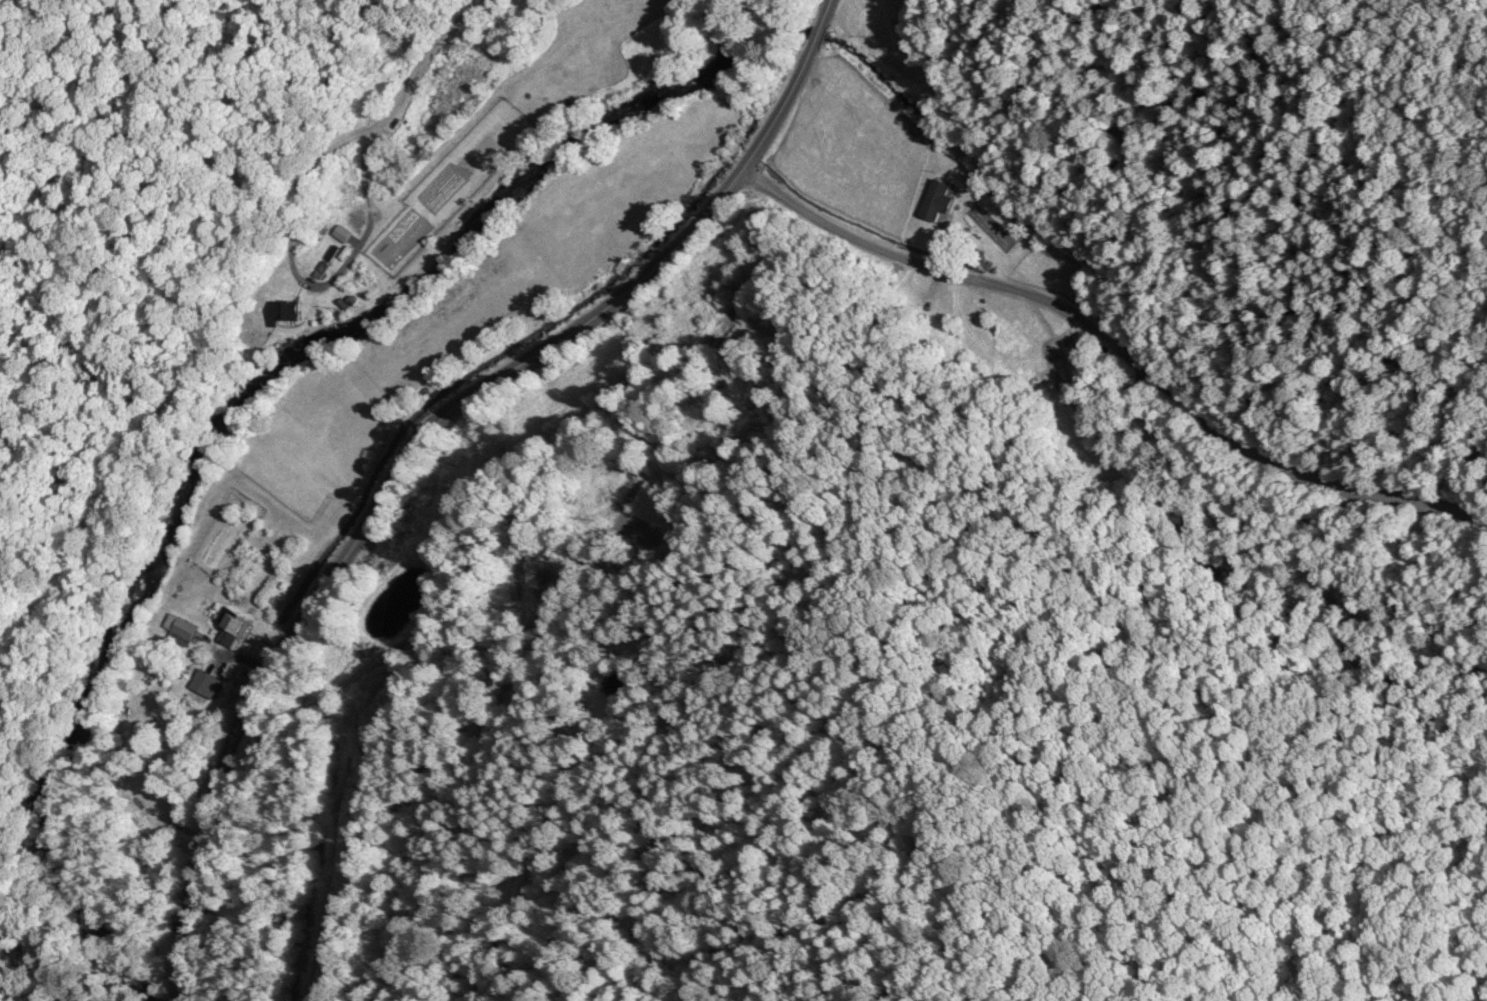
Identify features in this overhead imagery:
road: (1117, 342)
road: (417, 440)
building: (235, 623)
building: (184, 624)
road: (245, 654)

